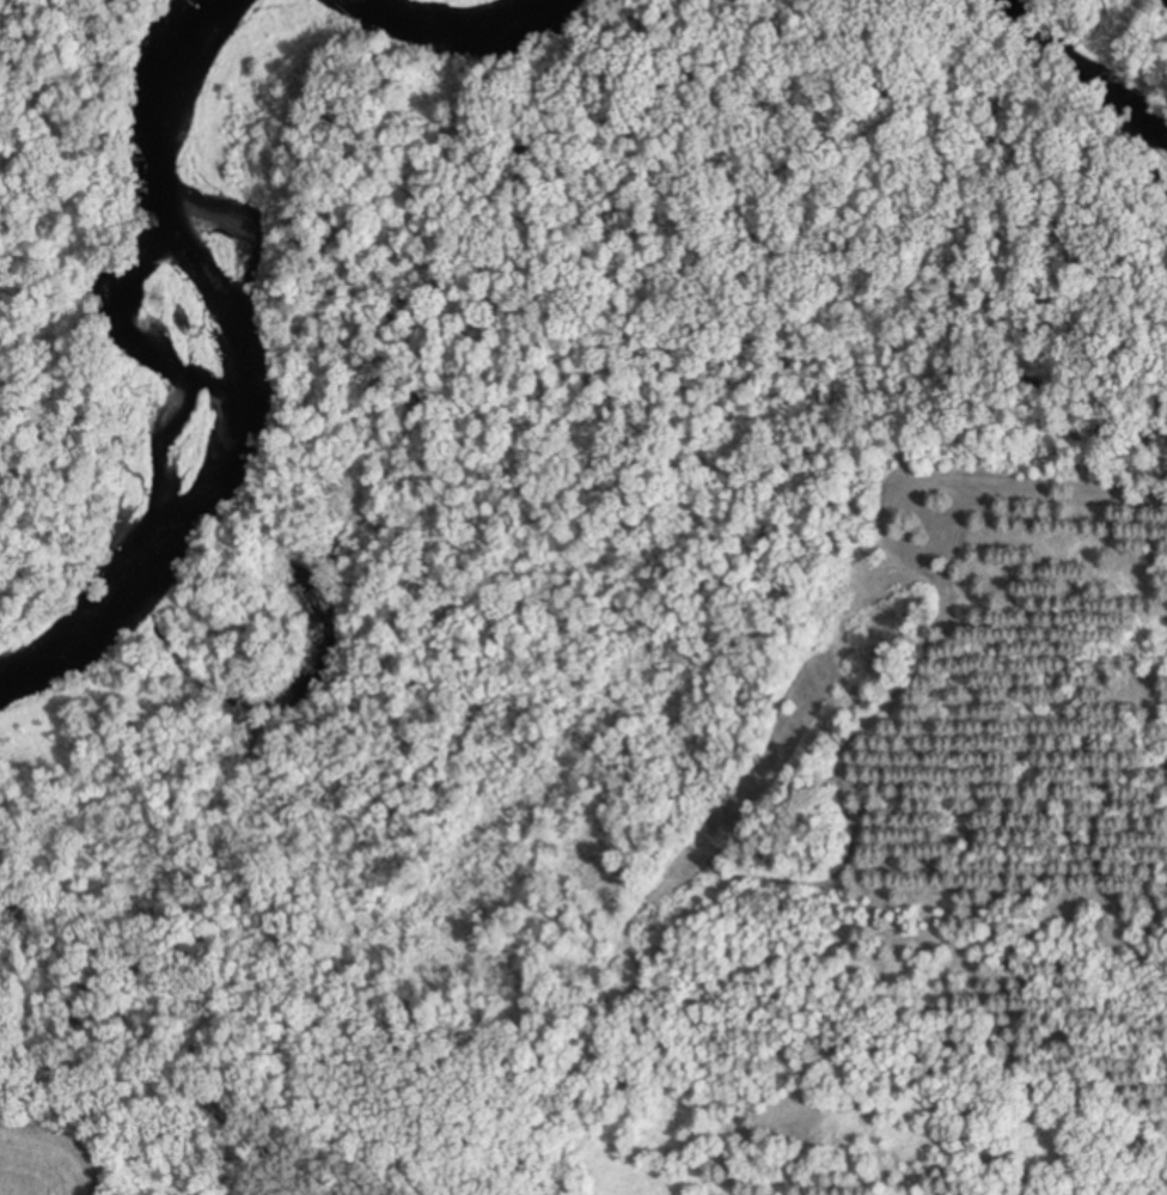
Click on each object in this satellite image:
river: (451, 17)
river: (194, 356)

